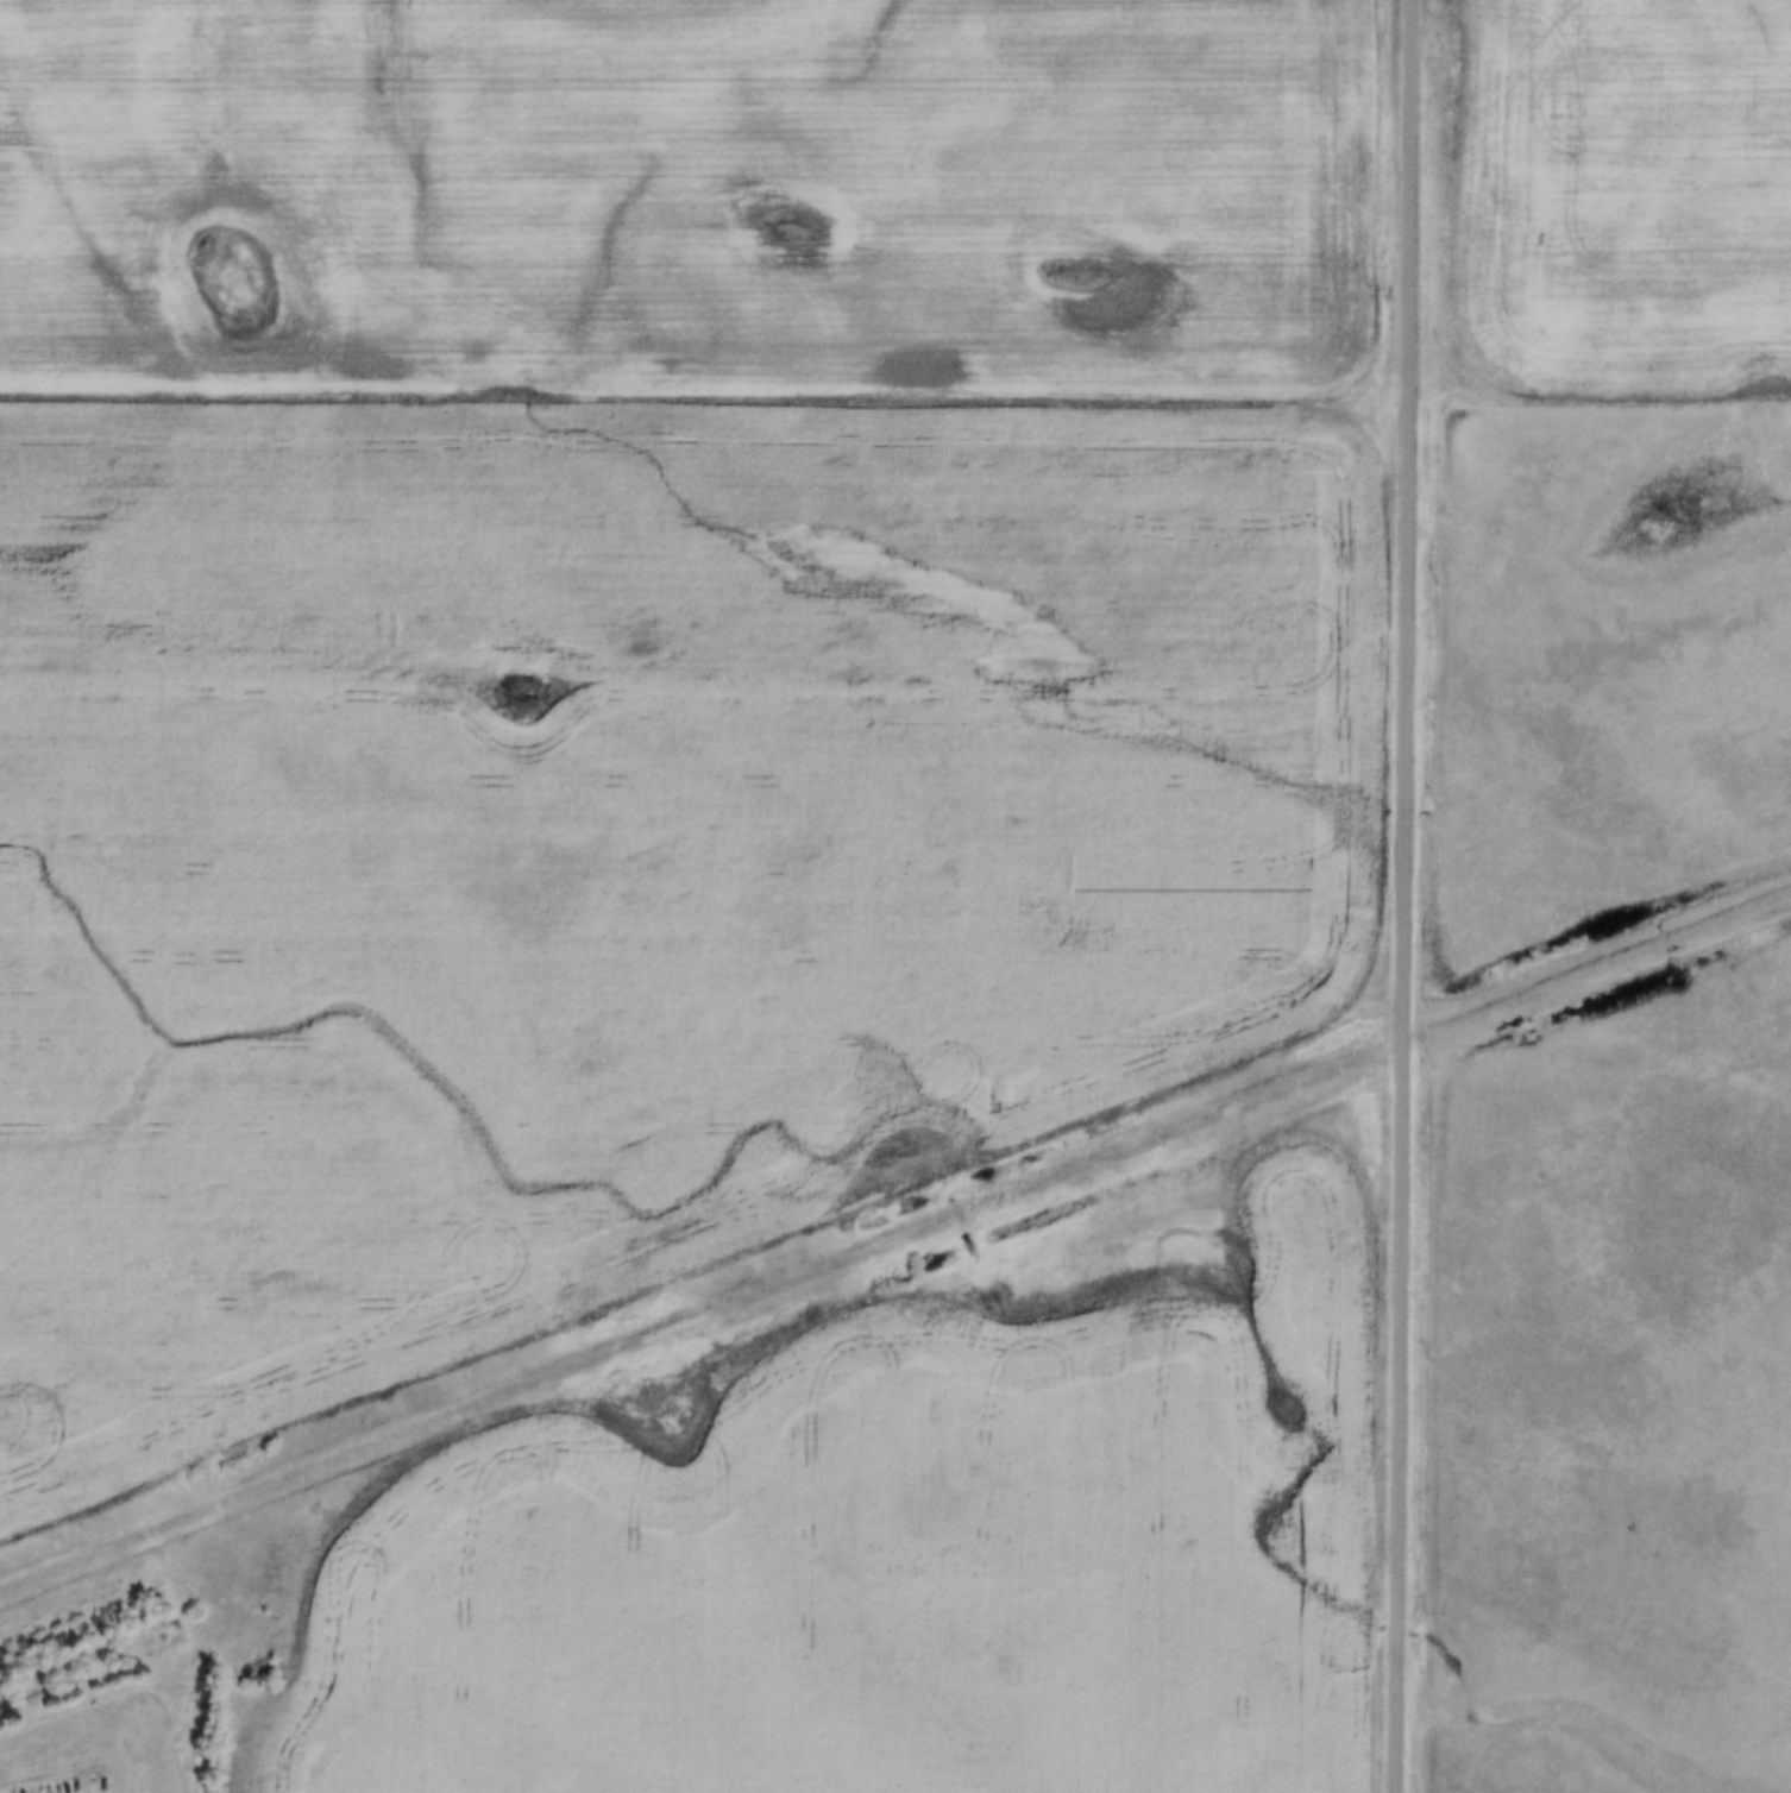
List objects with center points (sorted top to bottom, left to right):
road: (1406, 895)

